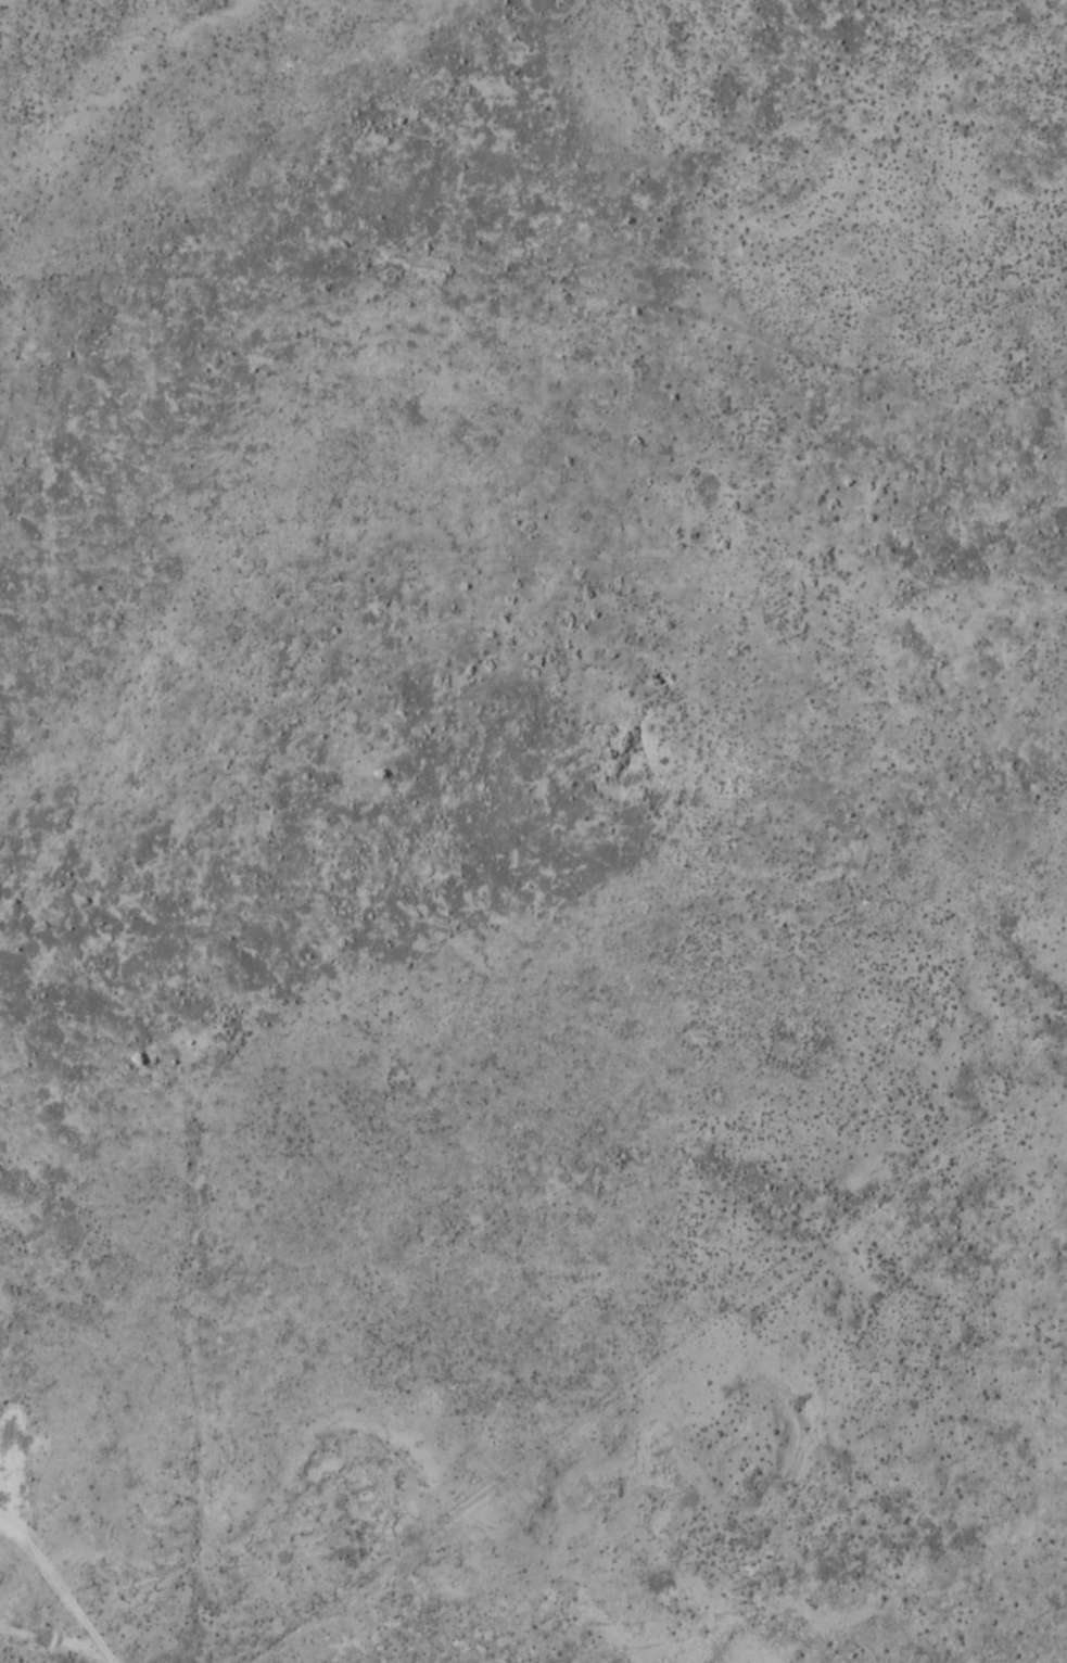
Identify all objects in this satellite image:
road: (663, 1363)
road: (56, 1584)

